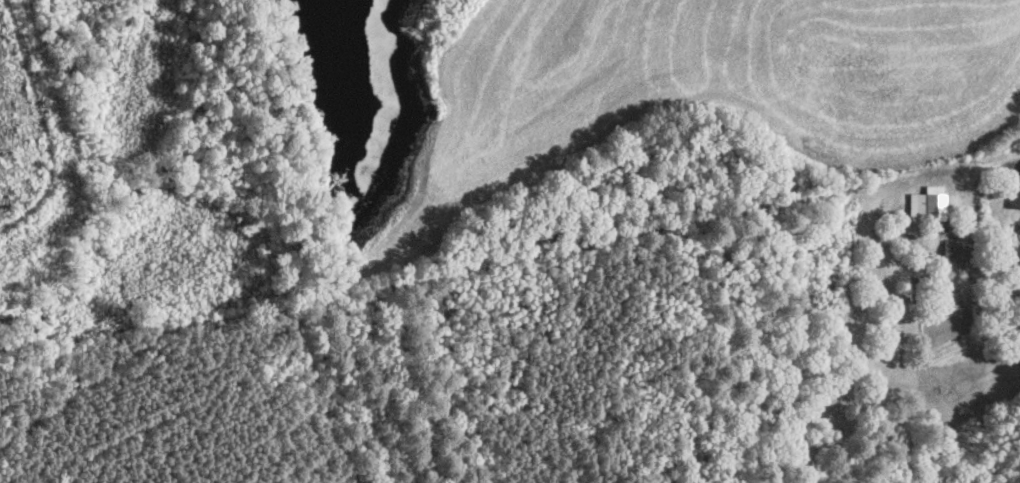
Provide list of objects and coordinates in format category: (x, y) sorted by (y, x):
building: (1013, 200)
road: (902, 448)

